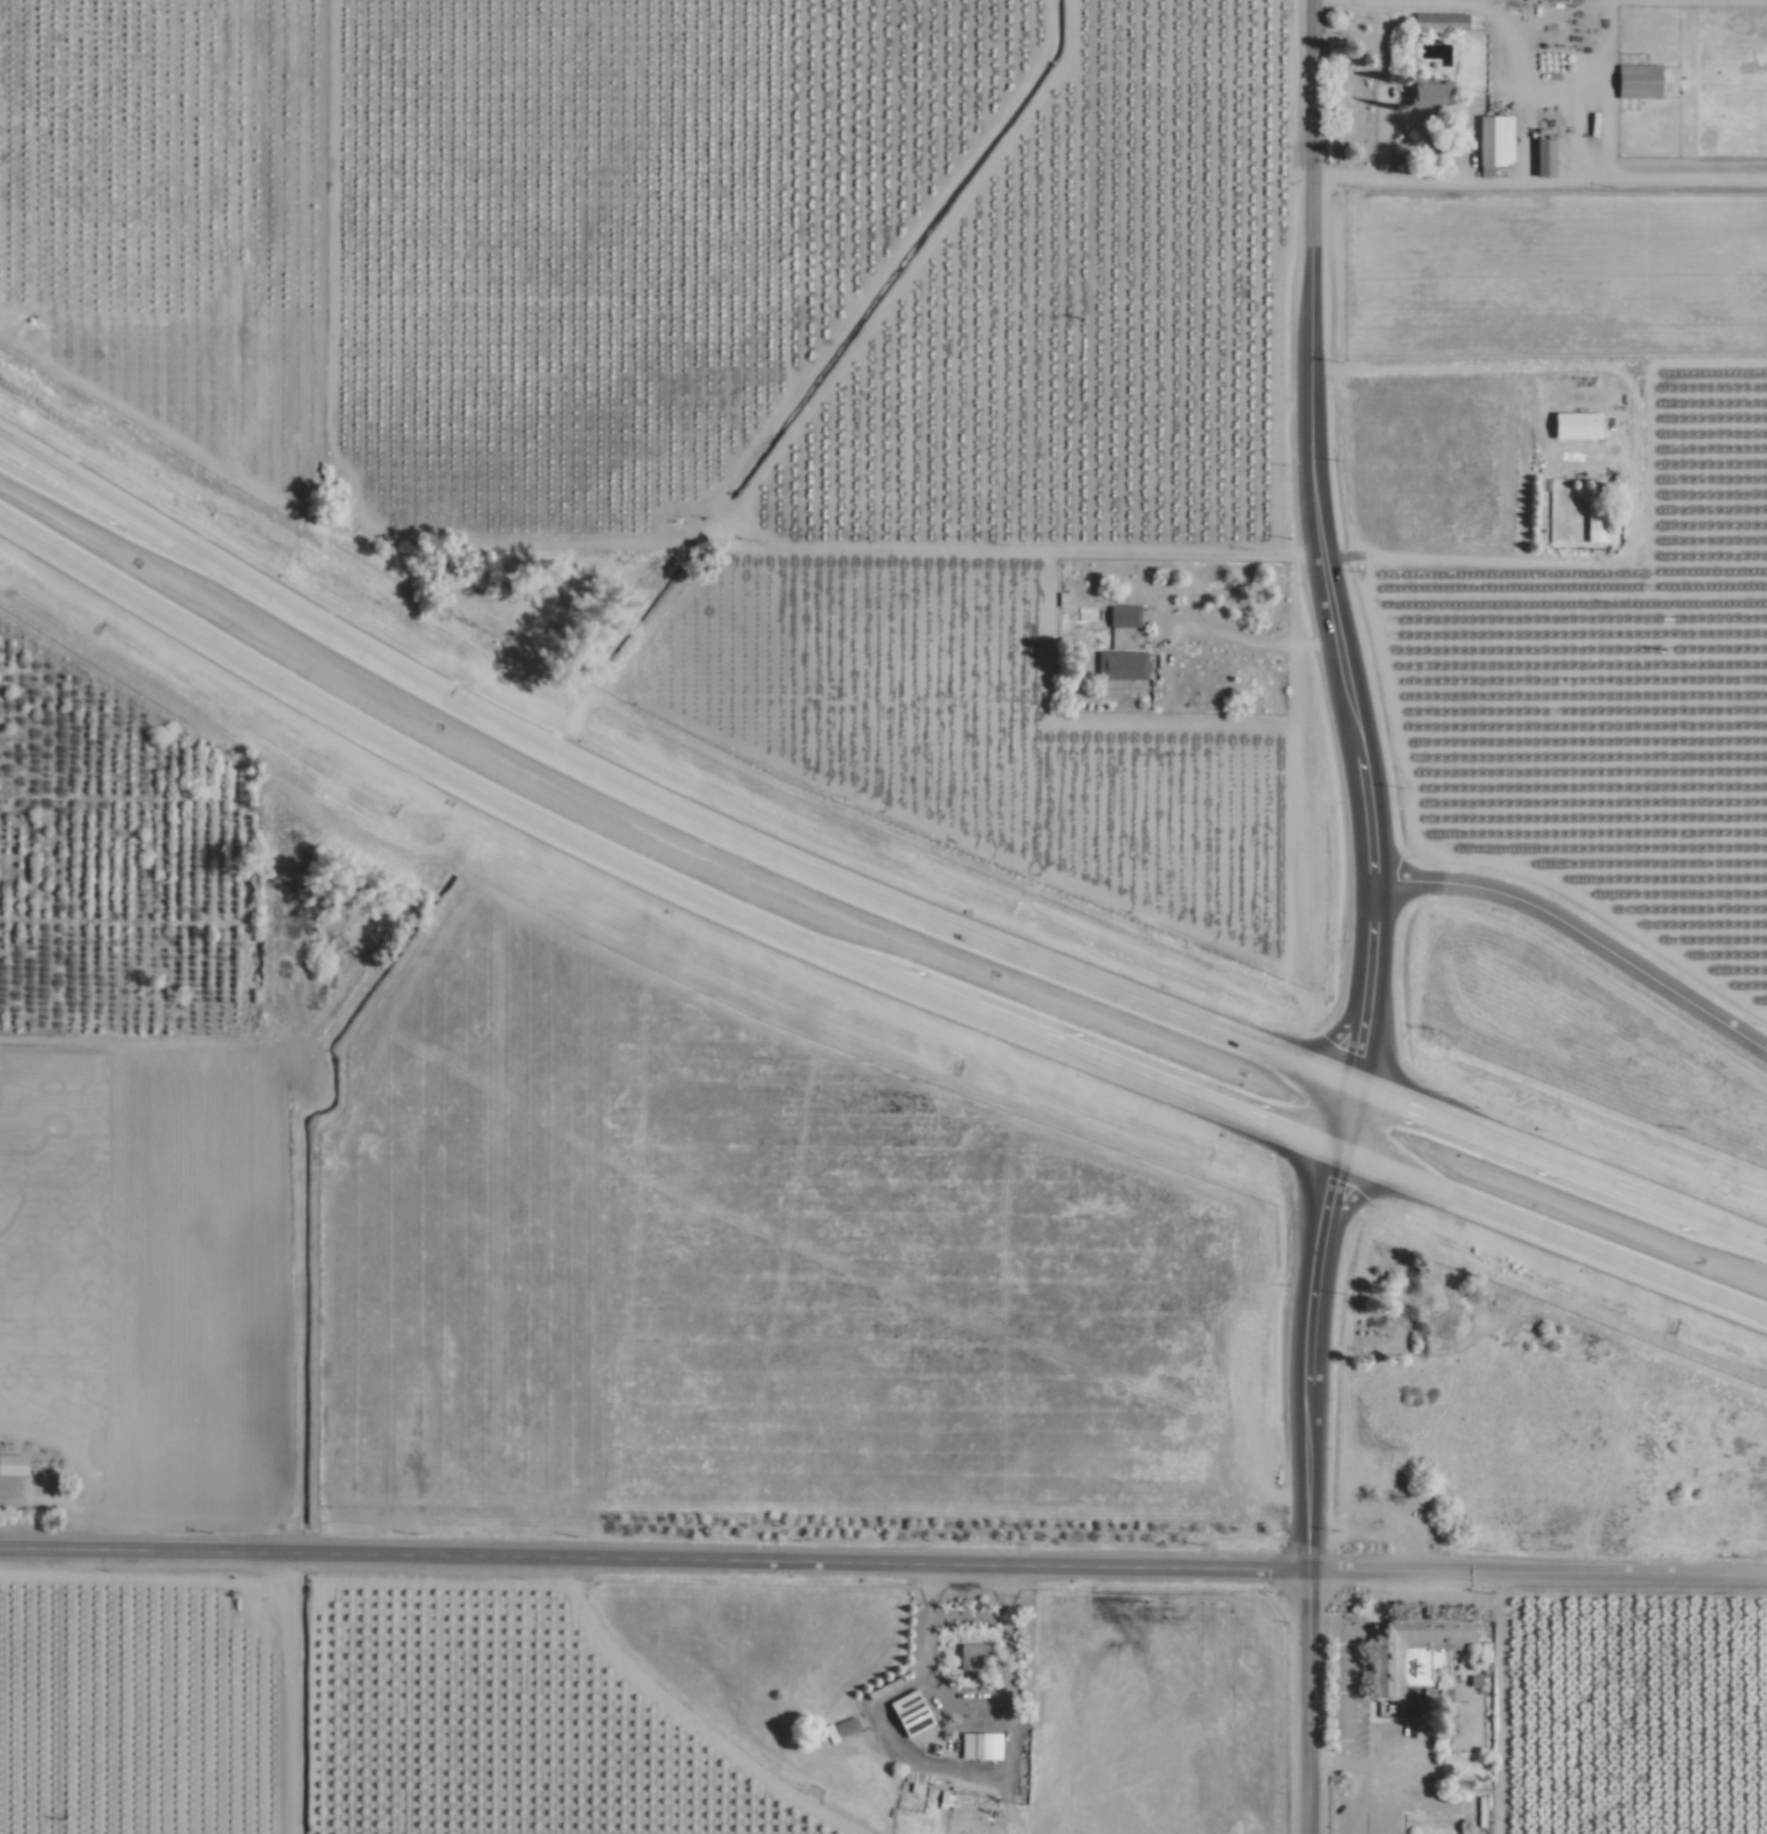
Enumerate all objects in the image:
building: (1442, 23)
building: (1640, 81)
building: (1430, 93)
building: (1497, 140)
building: (1547, 157)
crop: (63, 170)
road: (1515, 175)
road: (1639, 181)
crop: (234, 208)
crop: (857, 257)
crop: (1561, 293)
building: (226, 298)
road: (1472, 368)
building: (1578, 426)
building: (1596, 519)
road: (904, 552)
road: (1219, 555)
road: (1485, 562)
building: (1125, 616)
road: (1225, 635)
building: (1123, 666)
crop: (1622, 706)
road: (1365, 787)
road: (858, 895)
road: (1582, 936)
road: (860, 969)
crop: (100, 1266)
crop: (814, 1266)
building: (12, 1466)
road: (653, 1558)
road: (1536, 1572)
road: (1377, 1605)
road: (964, 1617)
road: (1327, 1627)
building: (1415, 1652)
building: (973, 1657)
road: (1348, 1695)
road: (1310, 1702)
building: (913, 1712)
building: (842, 1729)
building: (981, 1745)
road: (1330, 1765)

